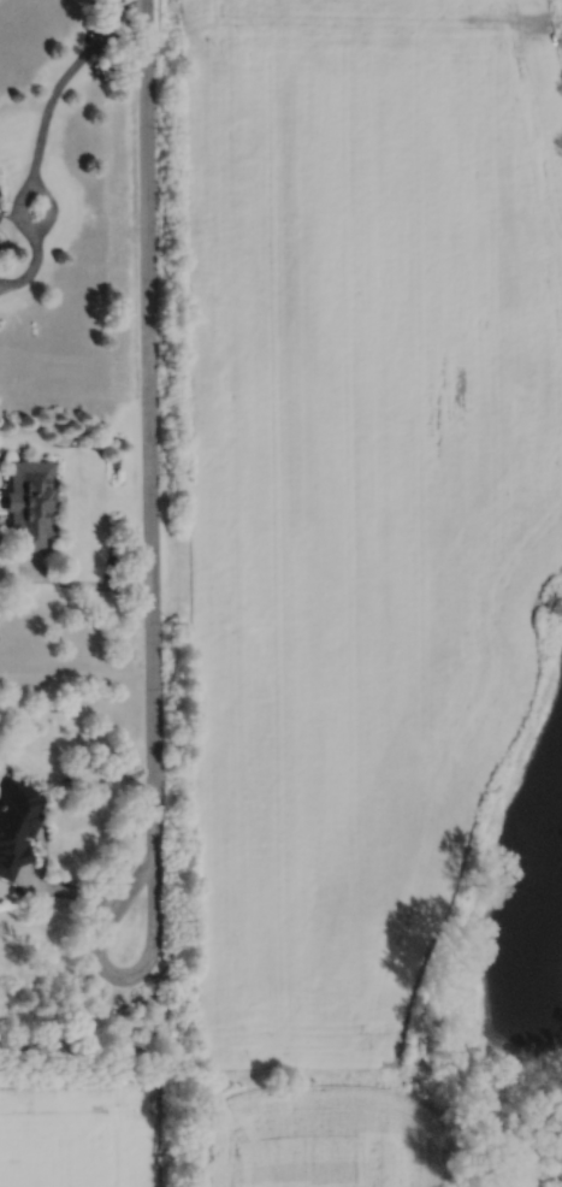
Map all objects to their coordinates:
road: (552, 19)
road: (39, 140)
road: (49, 202)
road: (149, 425)
crop: (361, 489)
building: (30, 501)
road: (87, 583)
building: (16, 822)
road: (67, 891)
road: (114, 974)
road: (73, 1032)
crop: (319, 1136)
road: (516, 1145)

